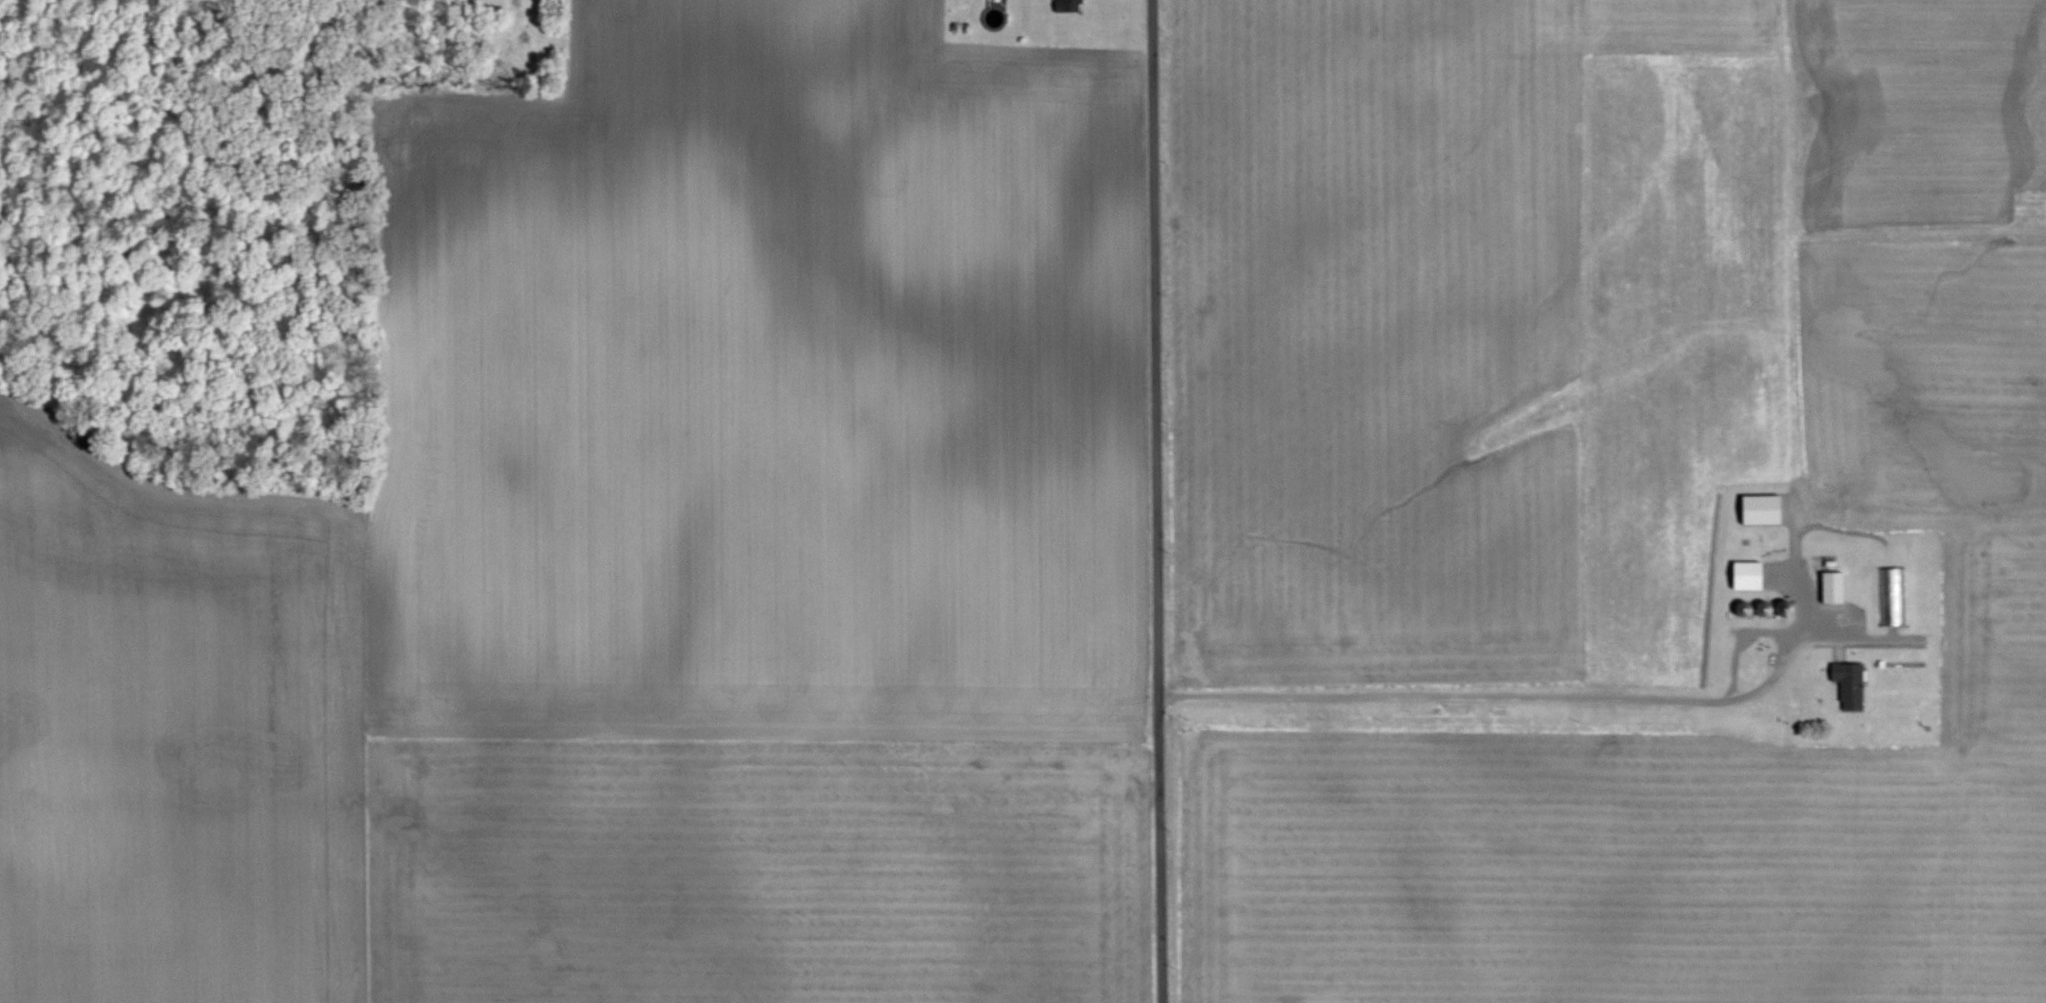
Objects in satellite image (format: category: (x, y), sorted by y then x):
building: (1070, 6)
road: (1158, 501)
building: (1761, 510)
building: (1747, 576)
building: (1833, 587)
building: (1894, 596)
road: (1851, 638)
building: (1849, 684)
road: (1557, 700)

